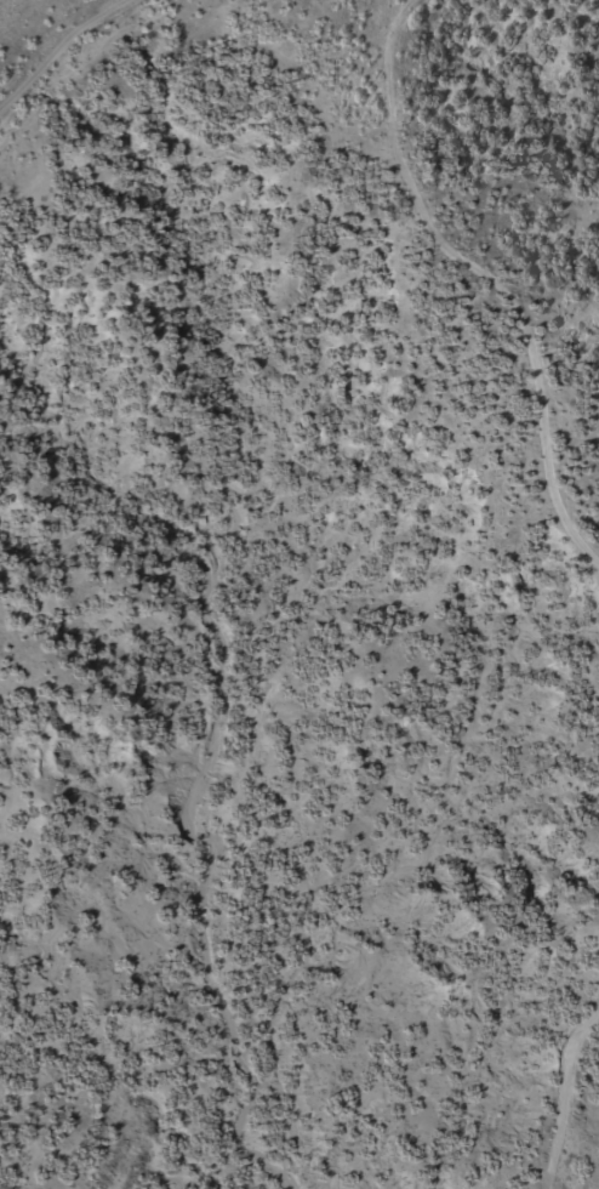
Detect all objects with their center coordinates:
road: (52, 61)

